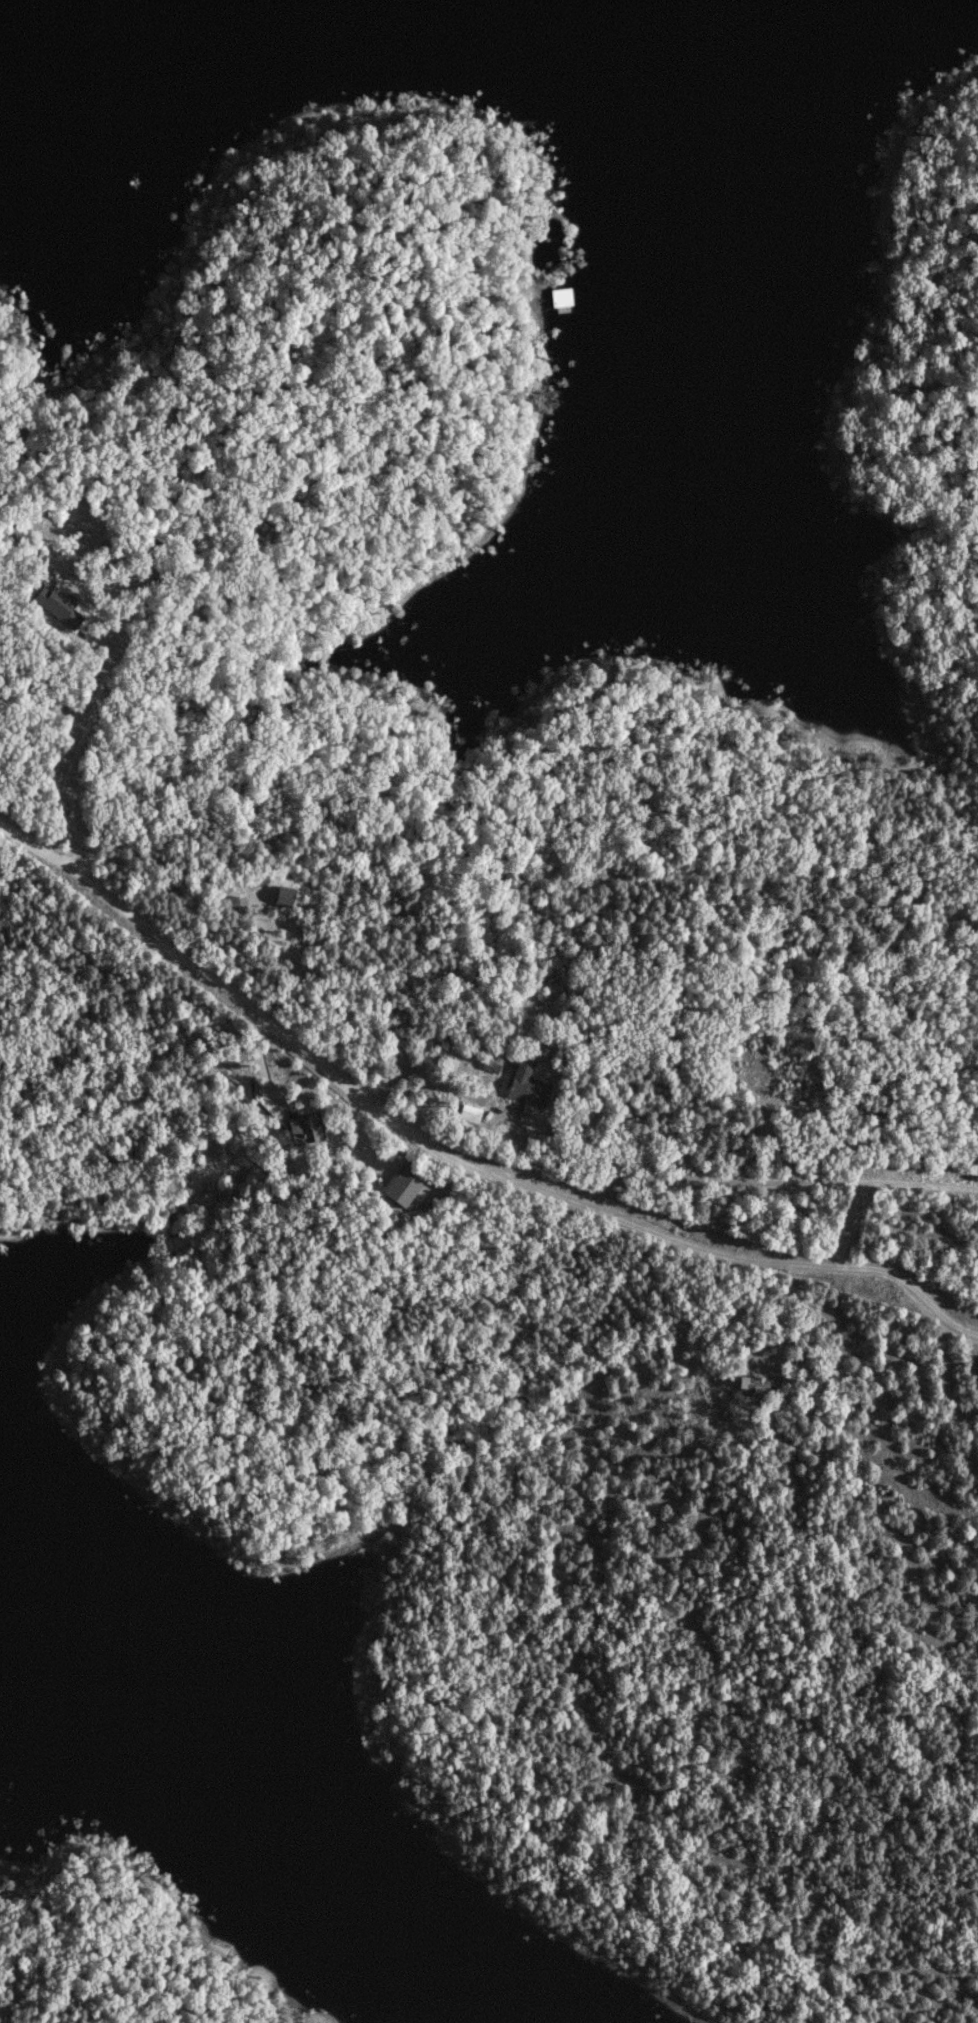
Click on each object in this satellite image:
building: (547, 293)
road: (70, 757)
building: (288, 894)
building: (301, 1129)
road: (452, 1159)
road: (778, 1181)
building: (403, 1189)

